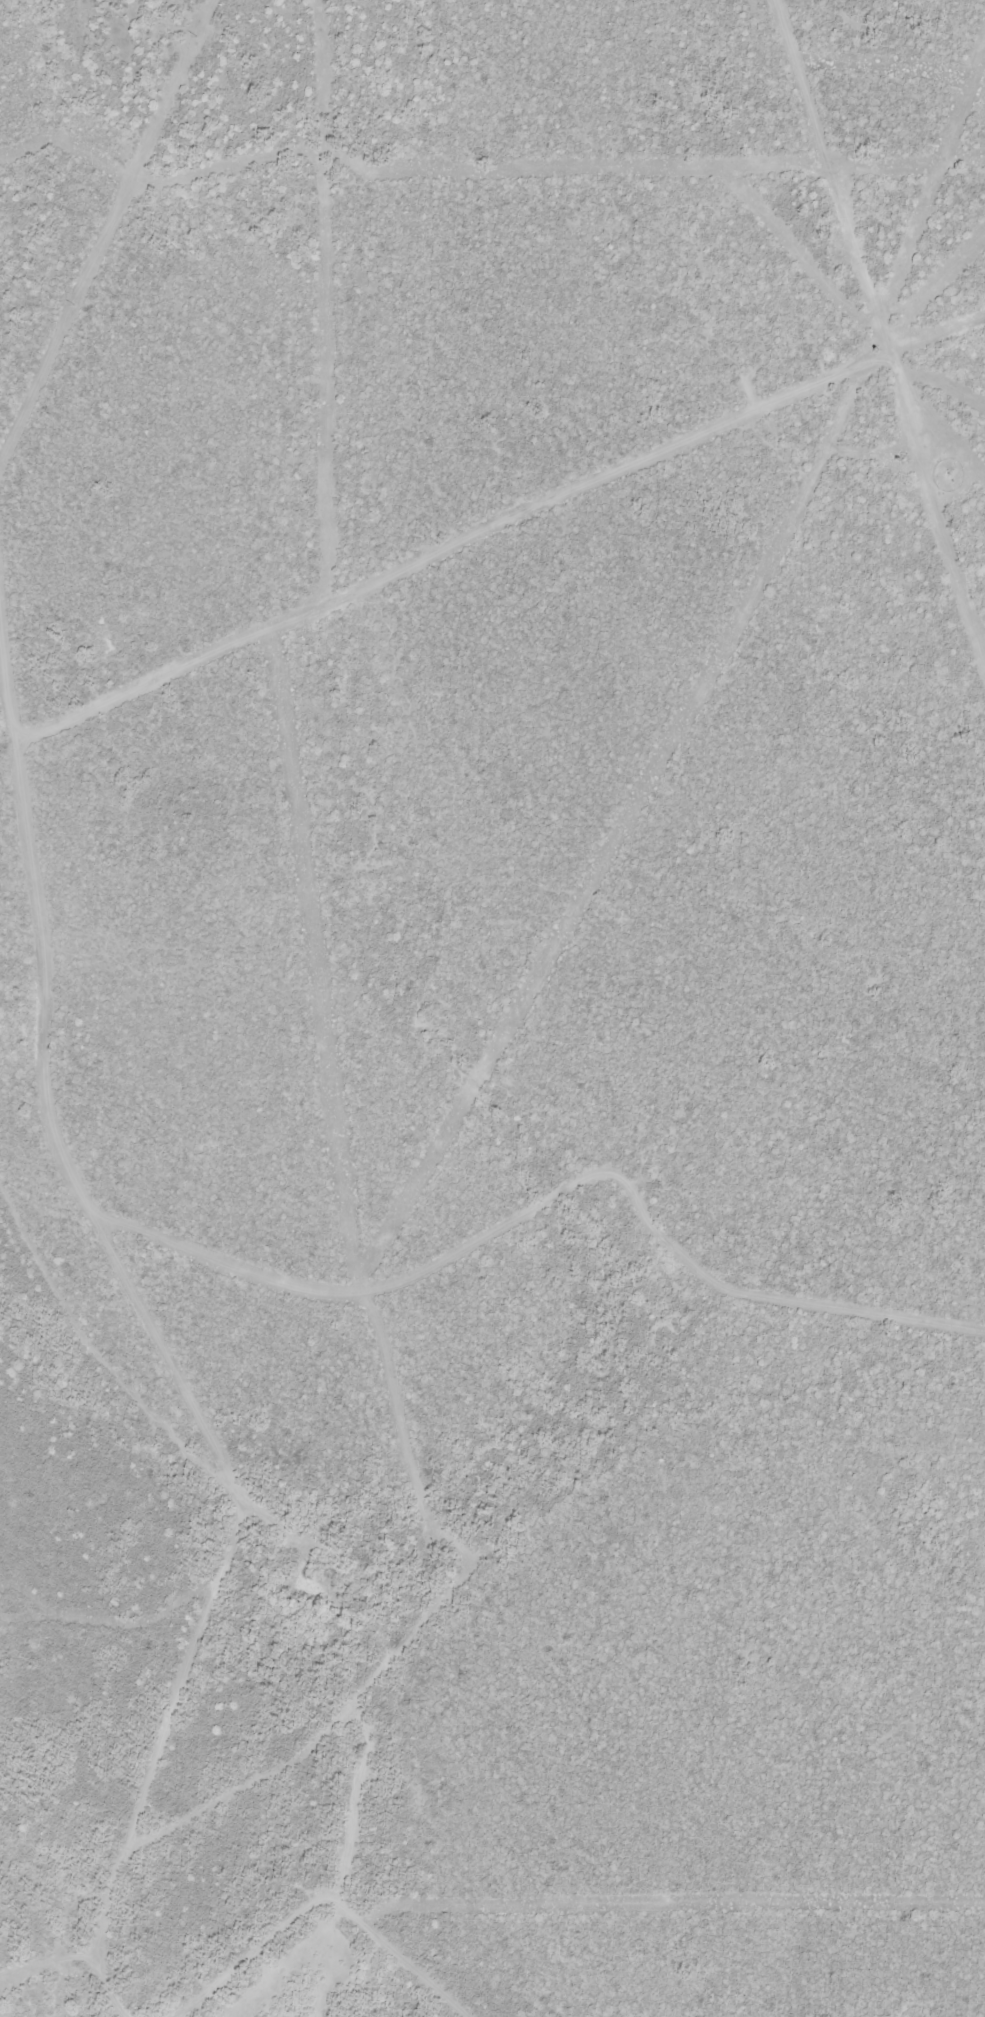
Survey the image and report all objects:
road: (149, 1339)

